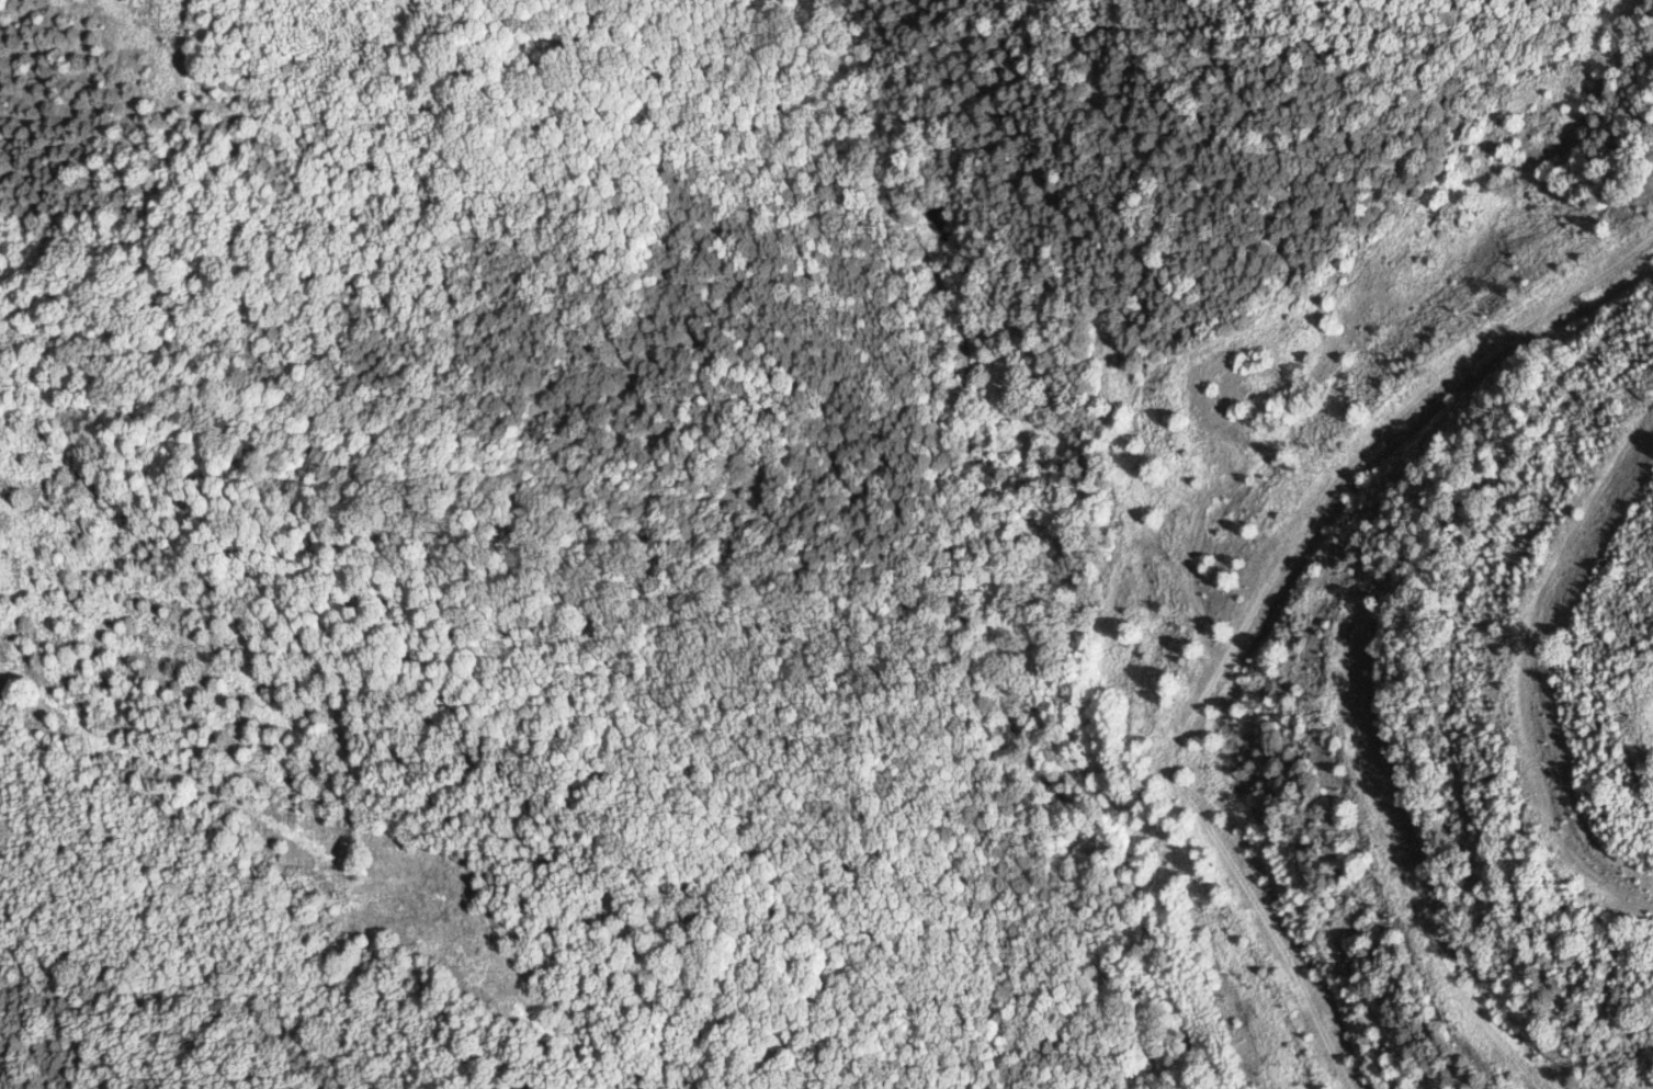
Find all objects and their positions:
road: (1254, 605)
road: (1651, 694)
road: (1409, 889)

